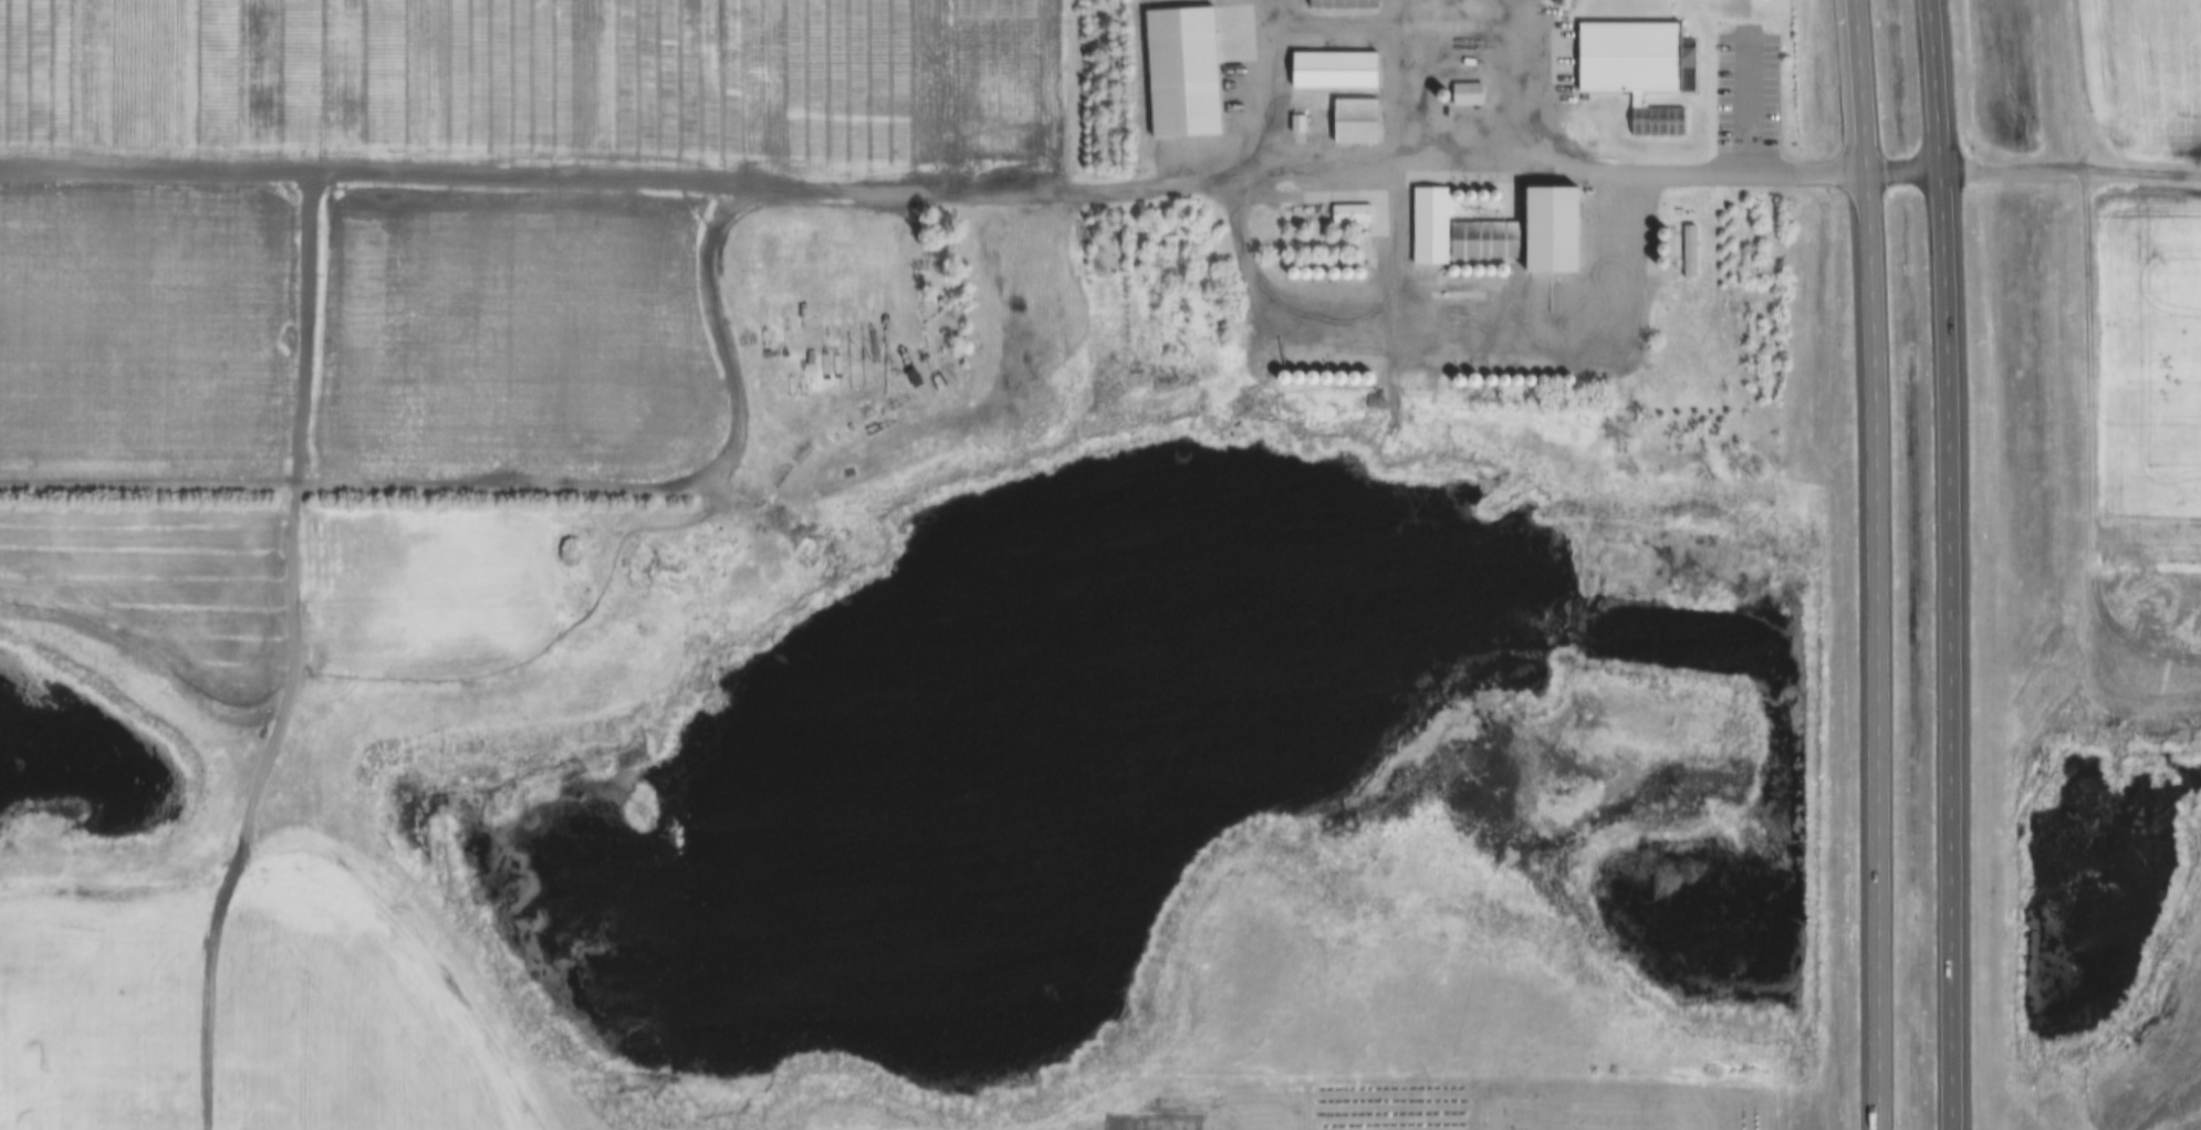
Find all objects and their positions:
building: (1342, 4)
road: (1286, 12)
building: (1450, 18)
building: (1367, 62)
building: (1636, 70)
building: (1180, 76)
building: (1319, 82)
road: (1522, 88)
building: (1465, 93)
road: (1730, 98)
building: (1354, 121)
road: (1322, 160)
road: (1907, 167)
road: (2074, 169)
road: (1713, 170)
building: (1349, 213)
building: (1498, 233)
road: (174, 242)
road: (1290, 341)
road: (1120, 393)
road: (964, 419)
road: (678, 489)
road: (1879, 564)
road: (1954, 564)

